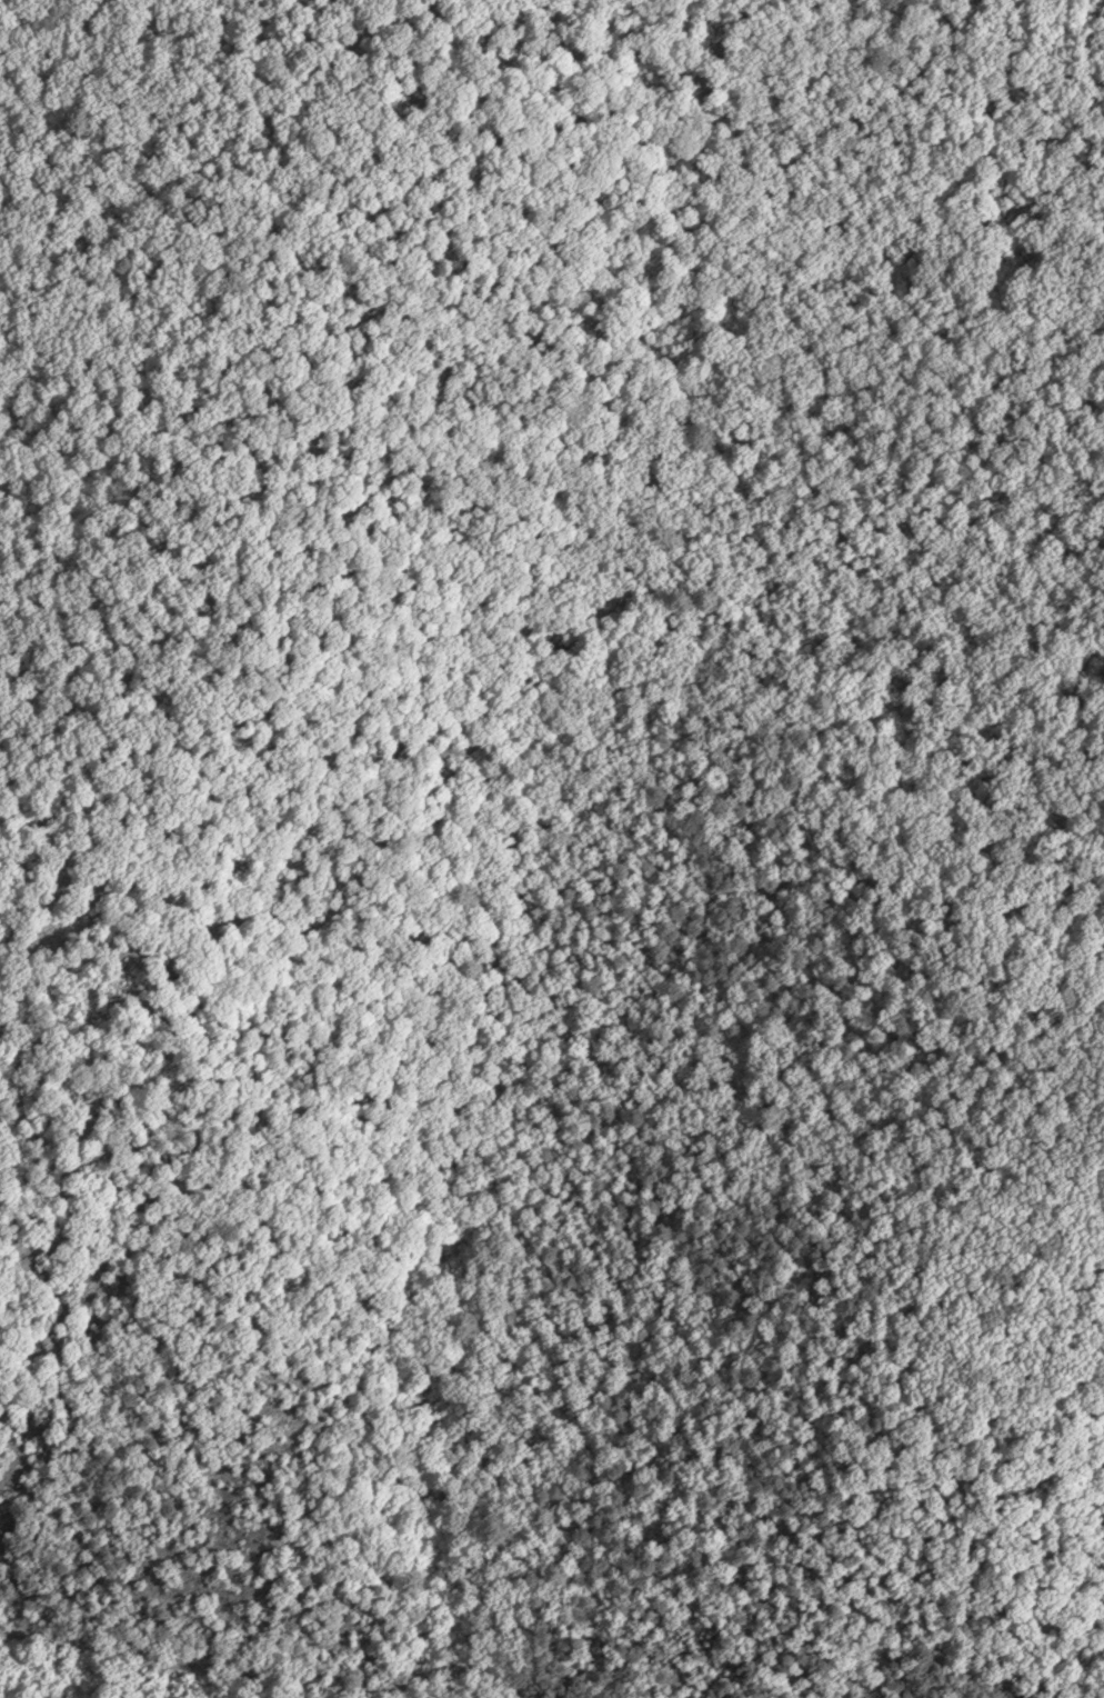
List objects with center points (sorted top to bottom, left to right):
road: (262, 1678)

